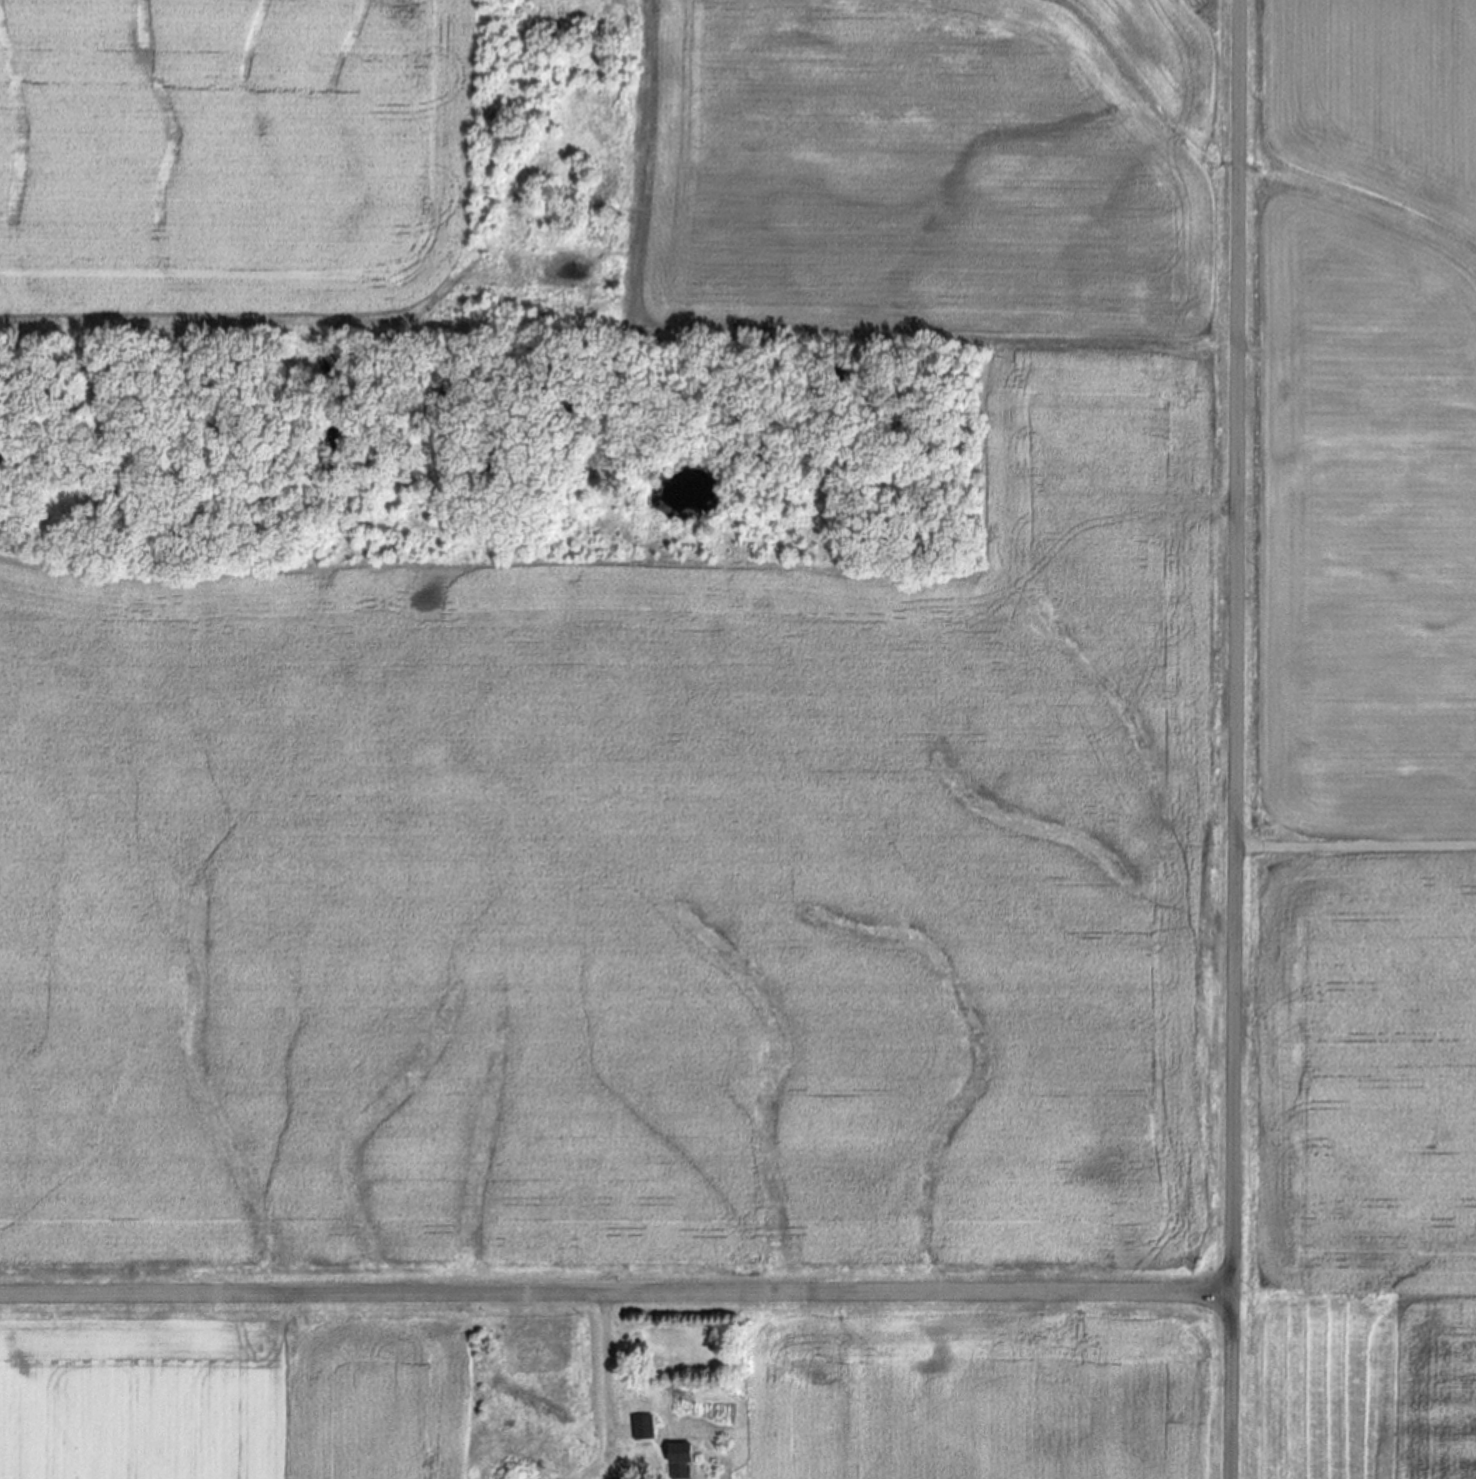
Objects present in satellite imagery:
road: (1233, 739)
road: (1354, 847)
road: (614, 1294)
road: (606, 1375)
building: (642, 1429)
building: (679, 1462)

